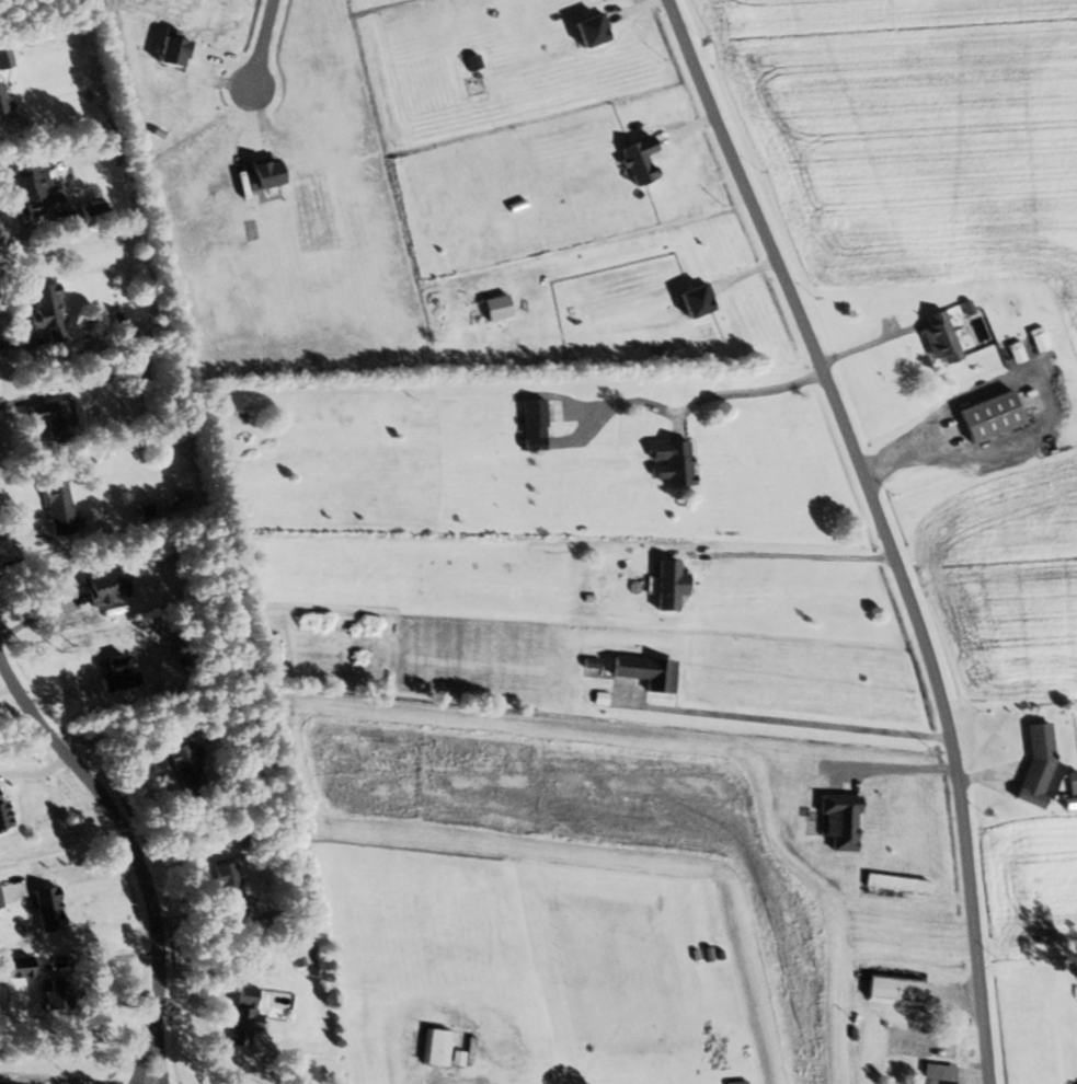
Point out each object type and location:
road: (260, 42)
building: (4, 99)
building: (39, 193)
building: (99, 210)
building: (50, 312)
building: (944, 338)
building: (1041, 339)
road: (864, 344)
road: (698, 399)
building: (995, 417)
building: (537, 418)
building: (57, 420)
building: (676, 462)
building: (60, 508)
road: (879, 529)
road: (792, 553)
building: (674, 585)
building: (107, 587)
building: (650, 671)
road: (790, 720)
building: (1042, 766)
building: (191, 771)
building: (5, 810)
building: (869, 815)
road: (128, 856)
building: (898, 884)
building: (232, 891)
building: (1, 898)
building: (53, 909)
building: (22, 967)
building: (886, 989)
building: (62, 995)
building: (247, 1016)
building: (442, 1047)
building: (933, 1073)

